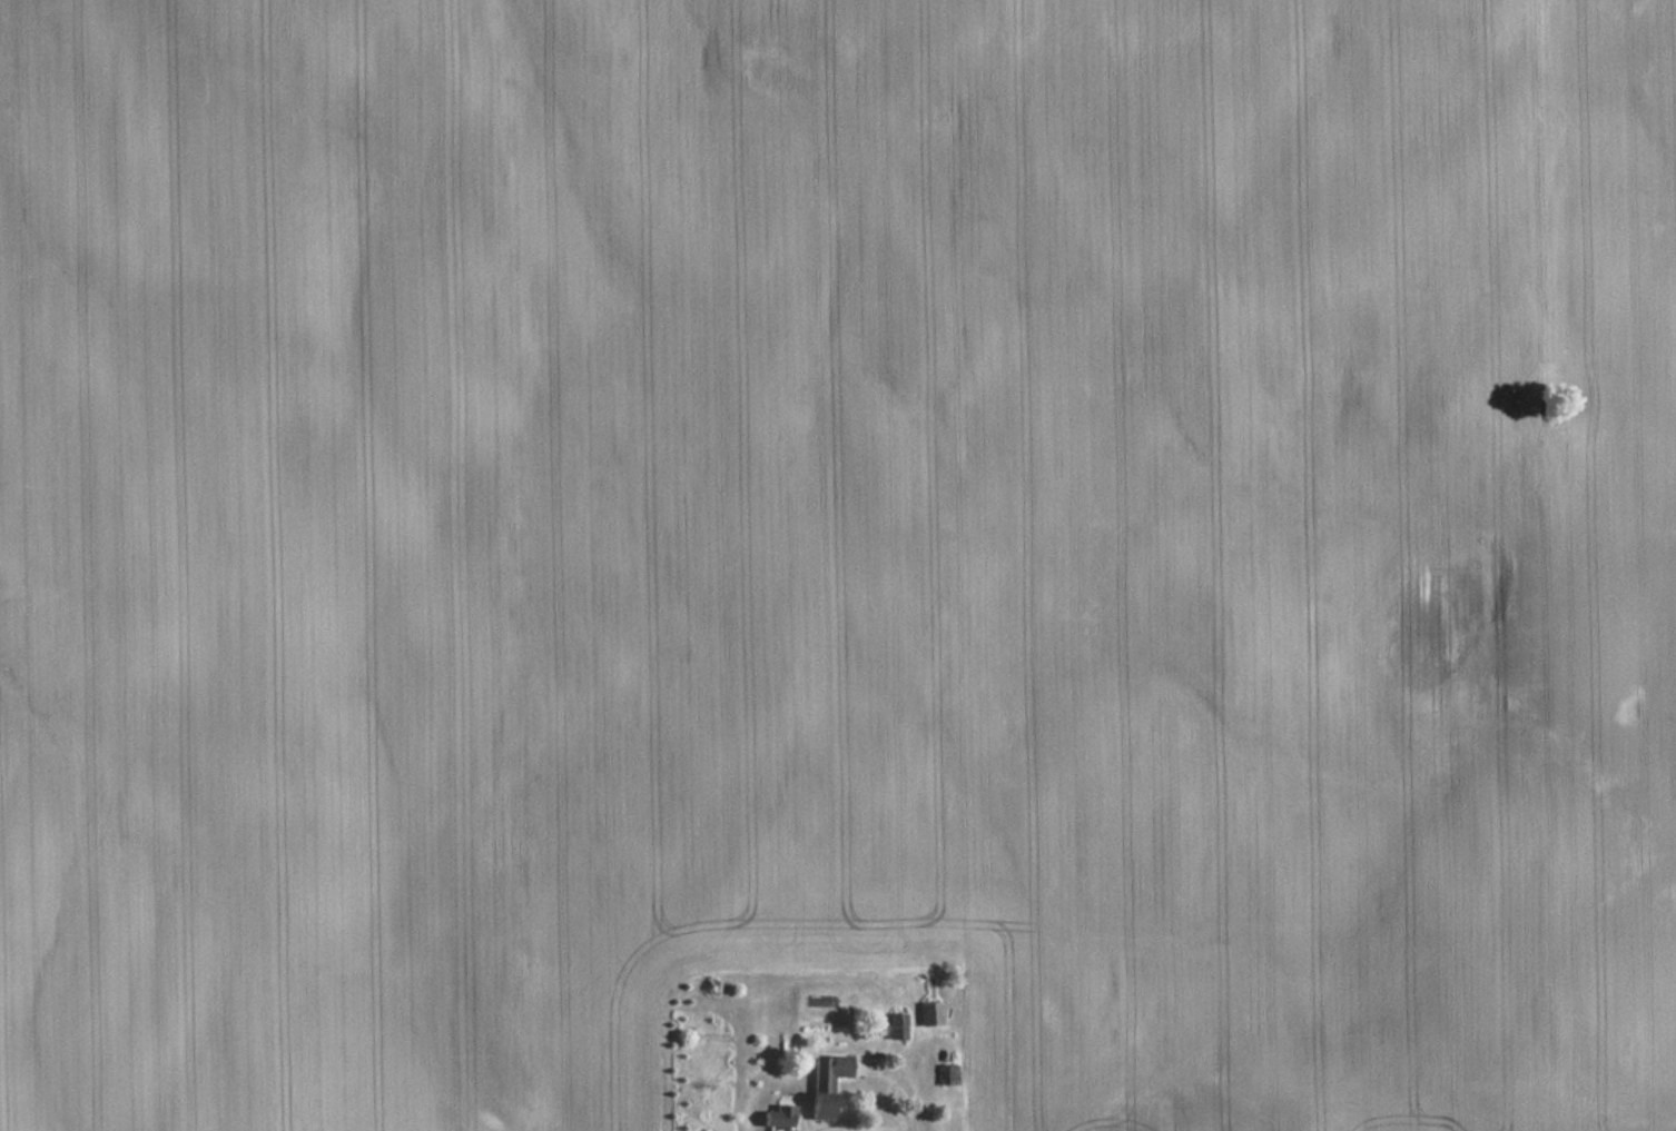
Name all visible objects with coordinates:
building: (929, 1013)
building: (896, 1026)
building: (947, 1074)
road: (899, 1081)
building: (826, 1083)
road: (888, 1102)
building: (779, 1118)

